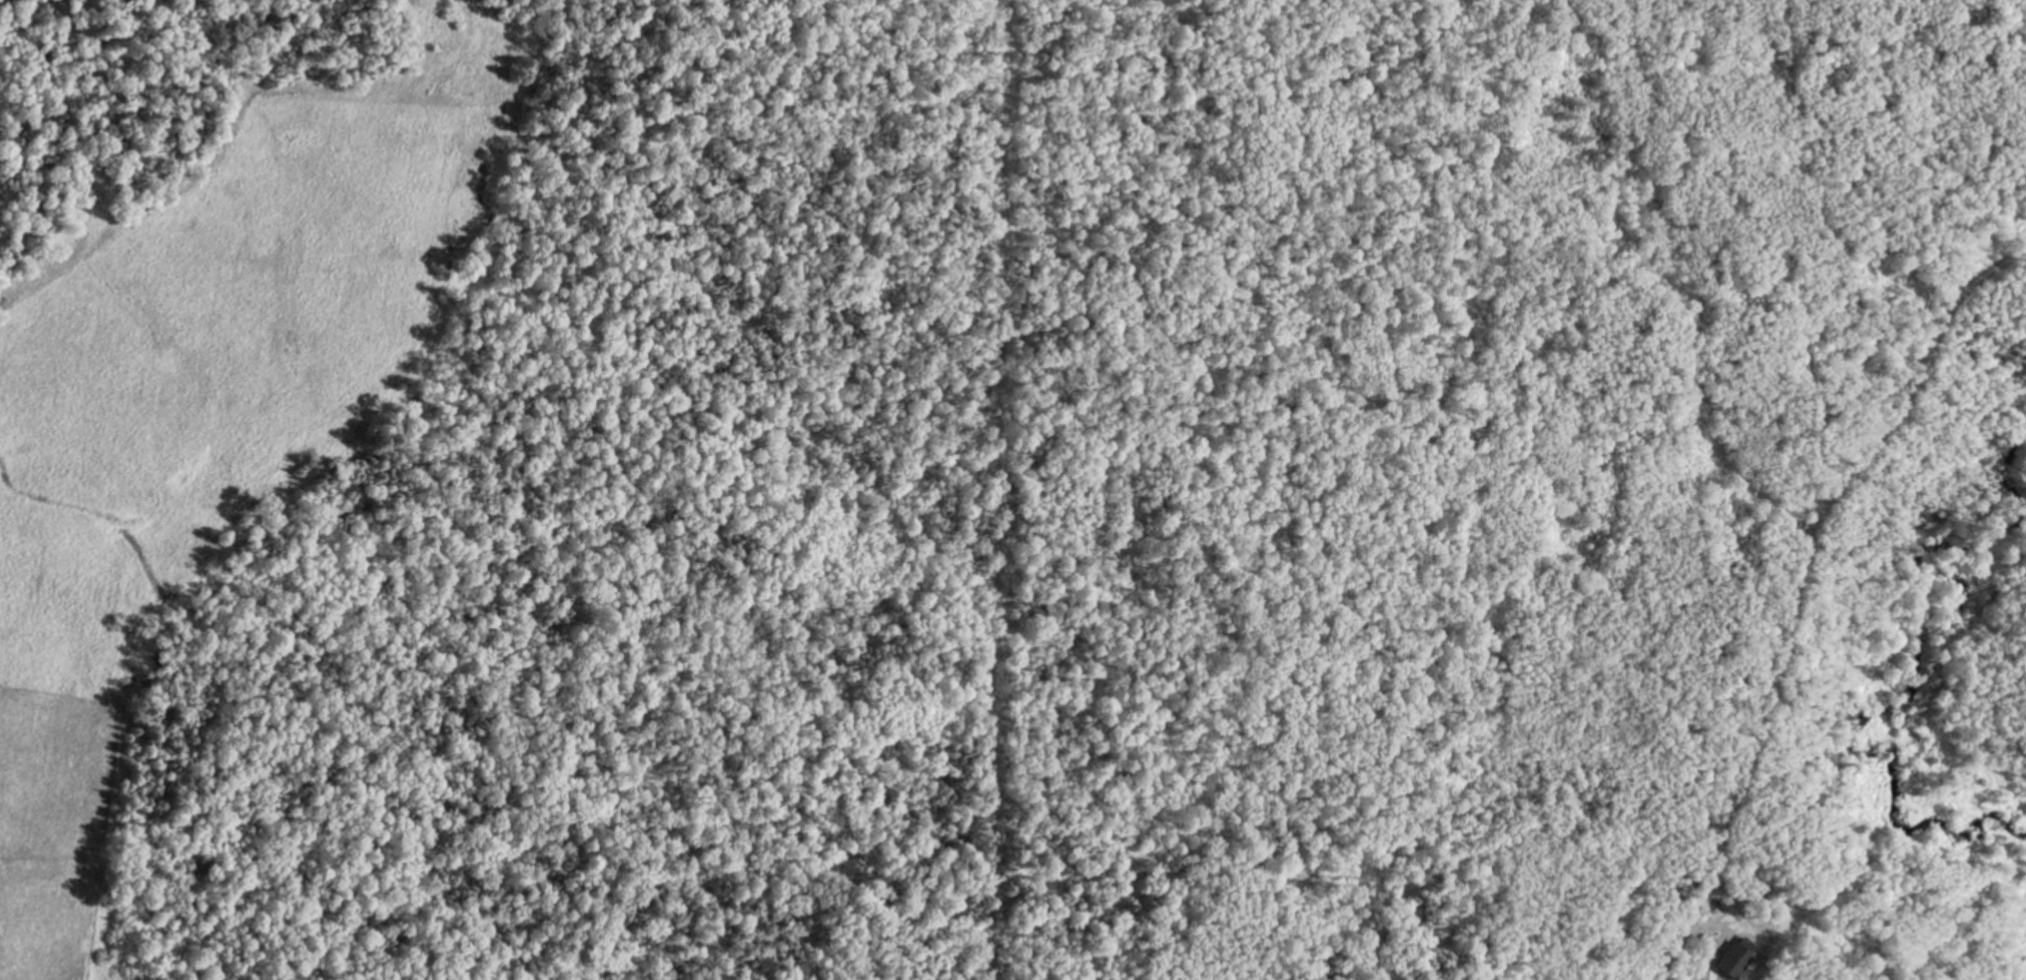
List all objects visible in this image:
building: (1714, 908)
building: (1736, 955)

